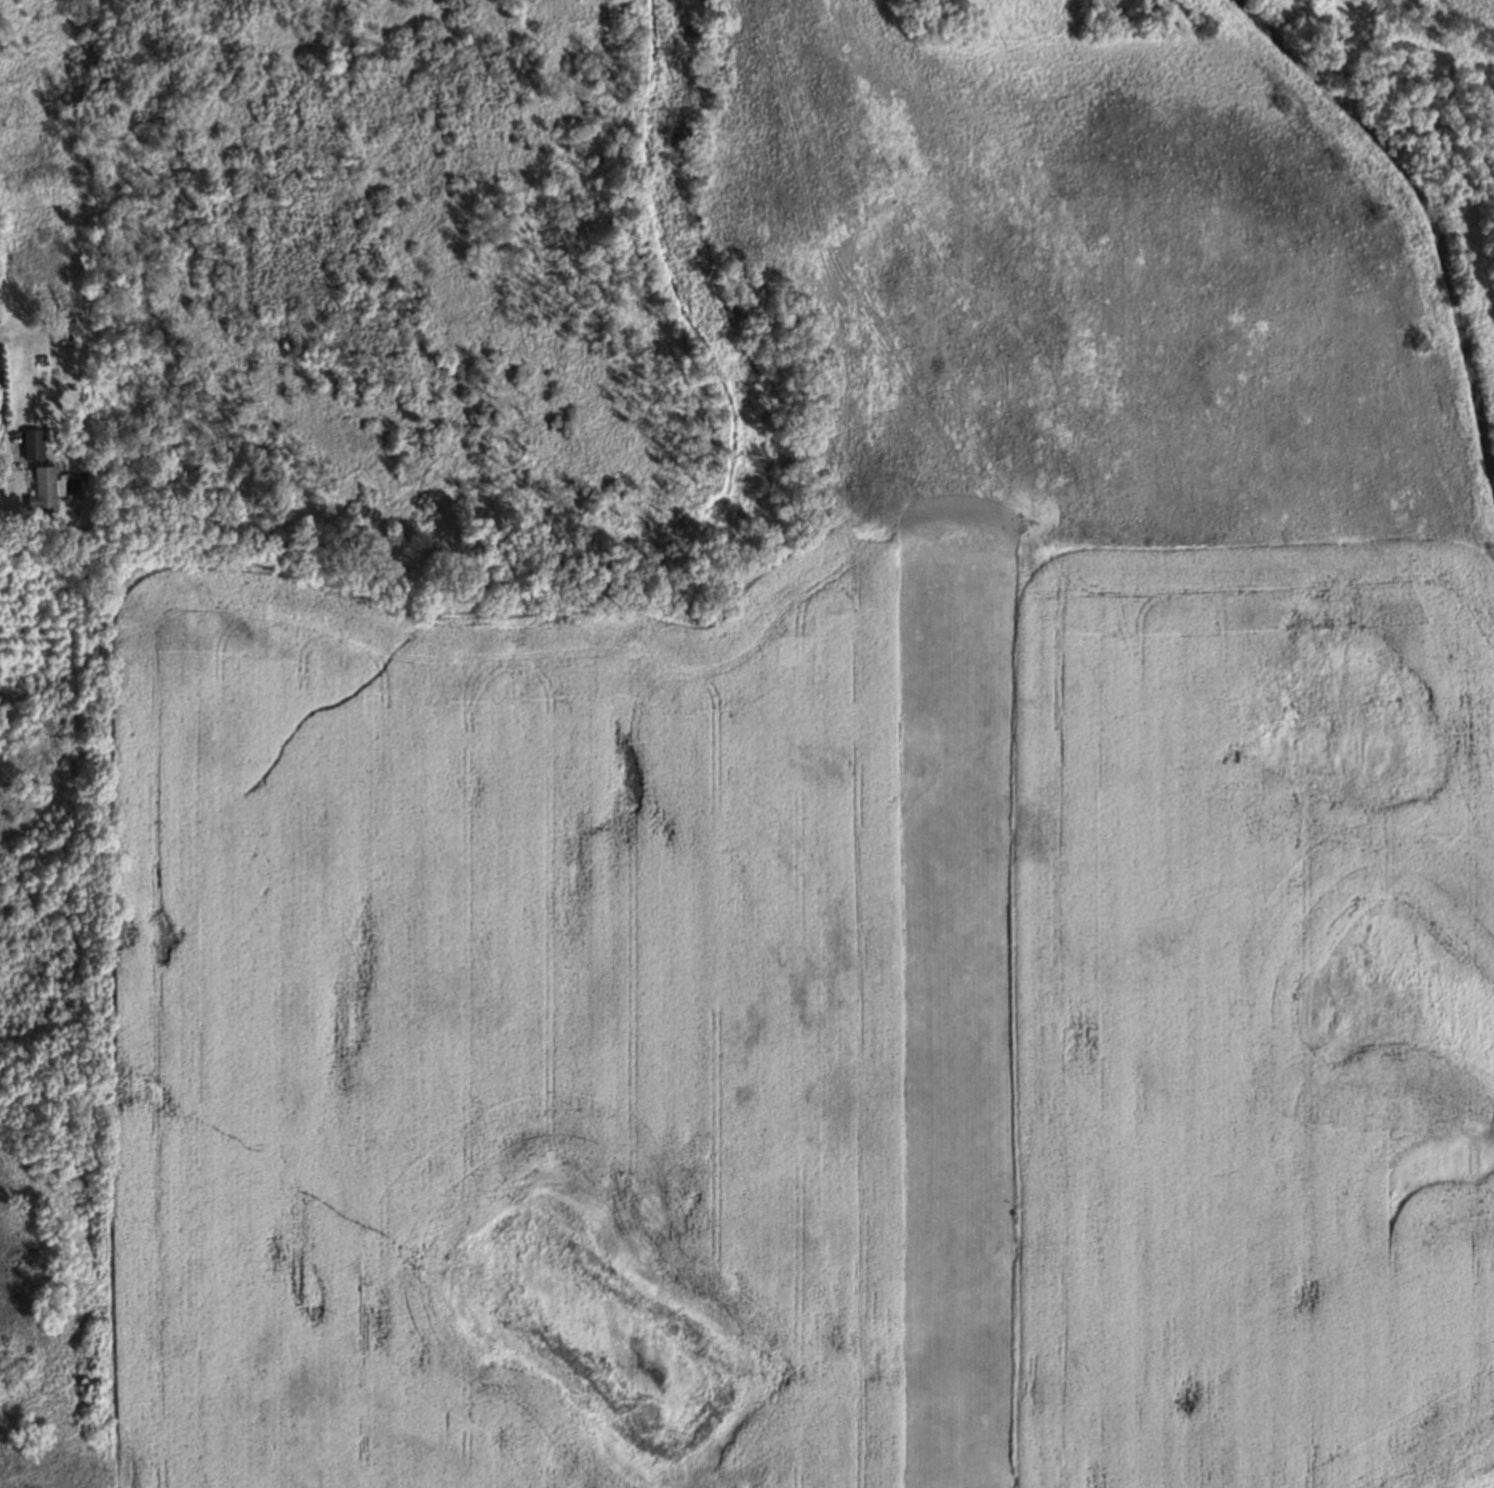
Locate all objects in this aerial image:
building: (75, 318)
building: (29, 442)
building: (42, 491)
airport runway: (948, 1027)

